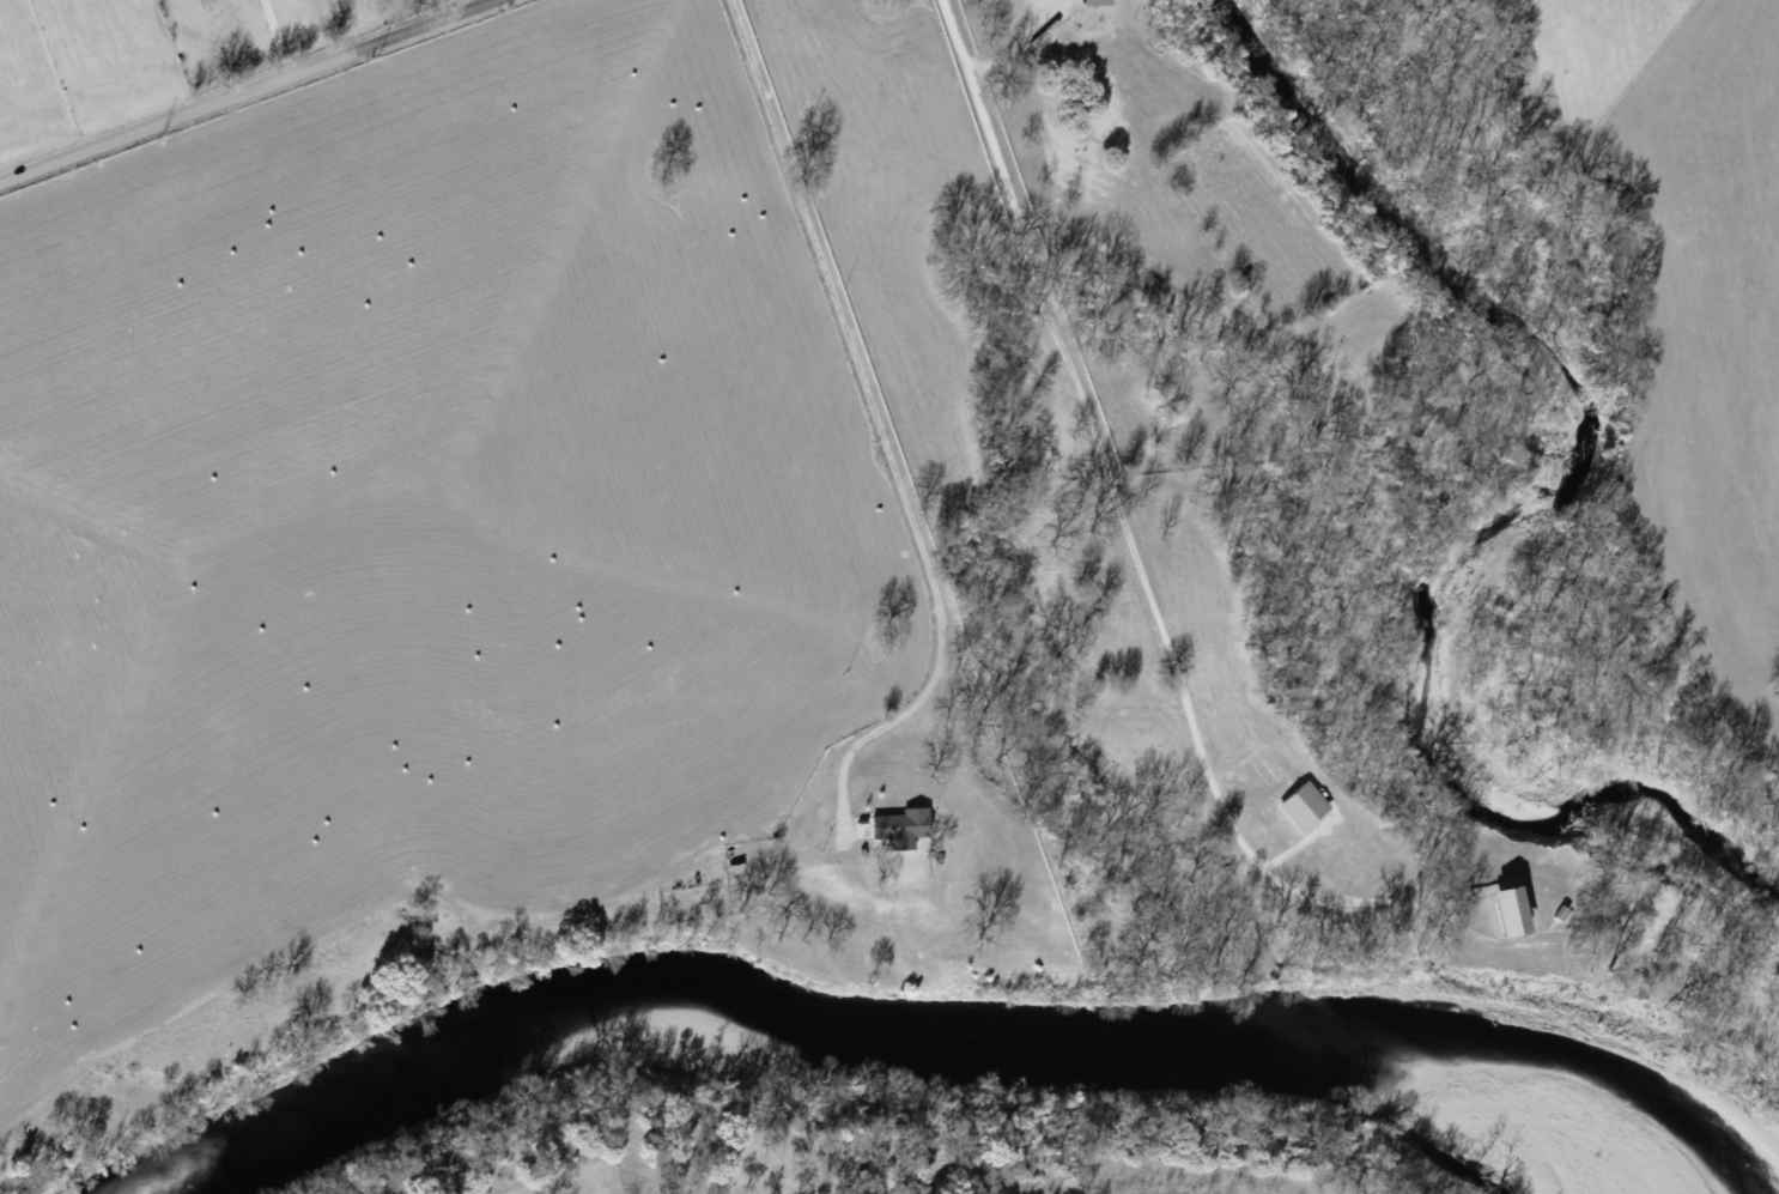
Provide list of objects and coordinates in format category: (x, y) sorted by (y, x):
building: (1094, 1)
road: (274, 34)
road: (238, 86)
road: (838, 299)
road: (1131, 539)
road: (906, 711)
building: (1300, 805)
building: (899, 825)
building: (1502, 910)
river: (795, 1012)
river: (1631, 1113)

